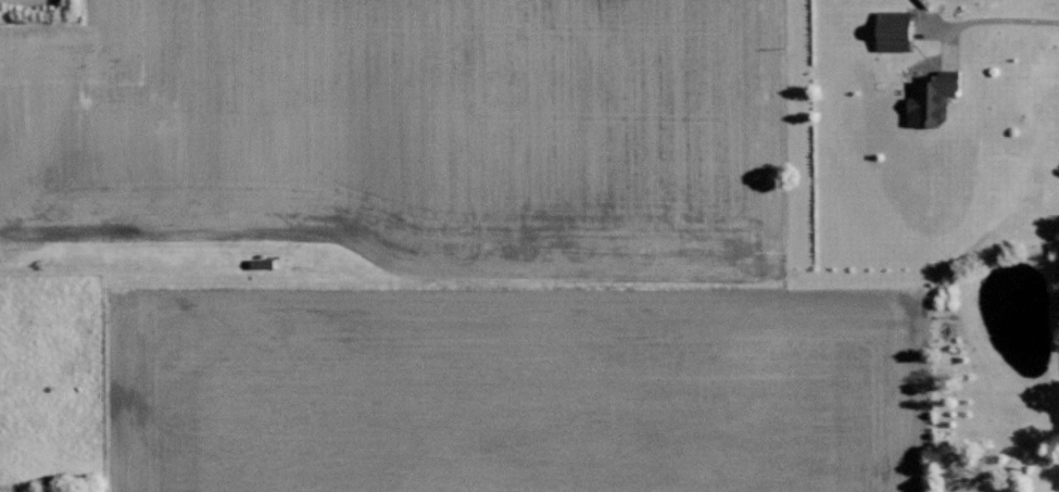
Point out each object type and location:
road: (989, 20)
building: (896, 31)
building: (935, 99)
building: (263, 264)

